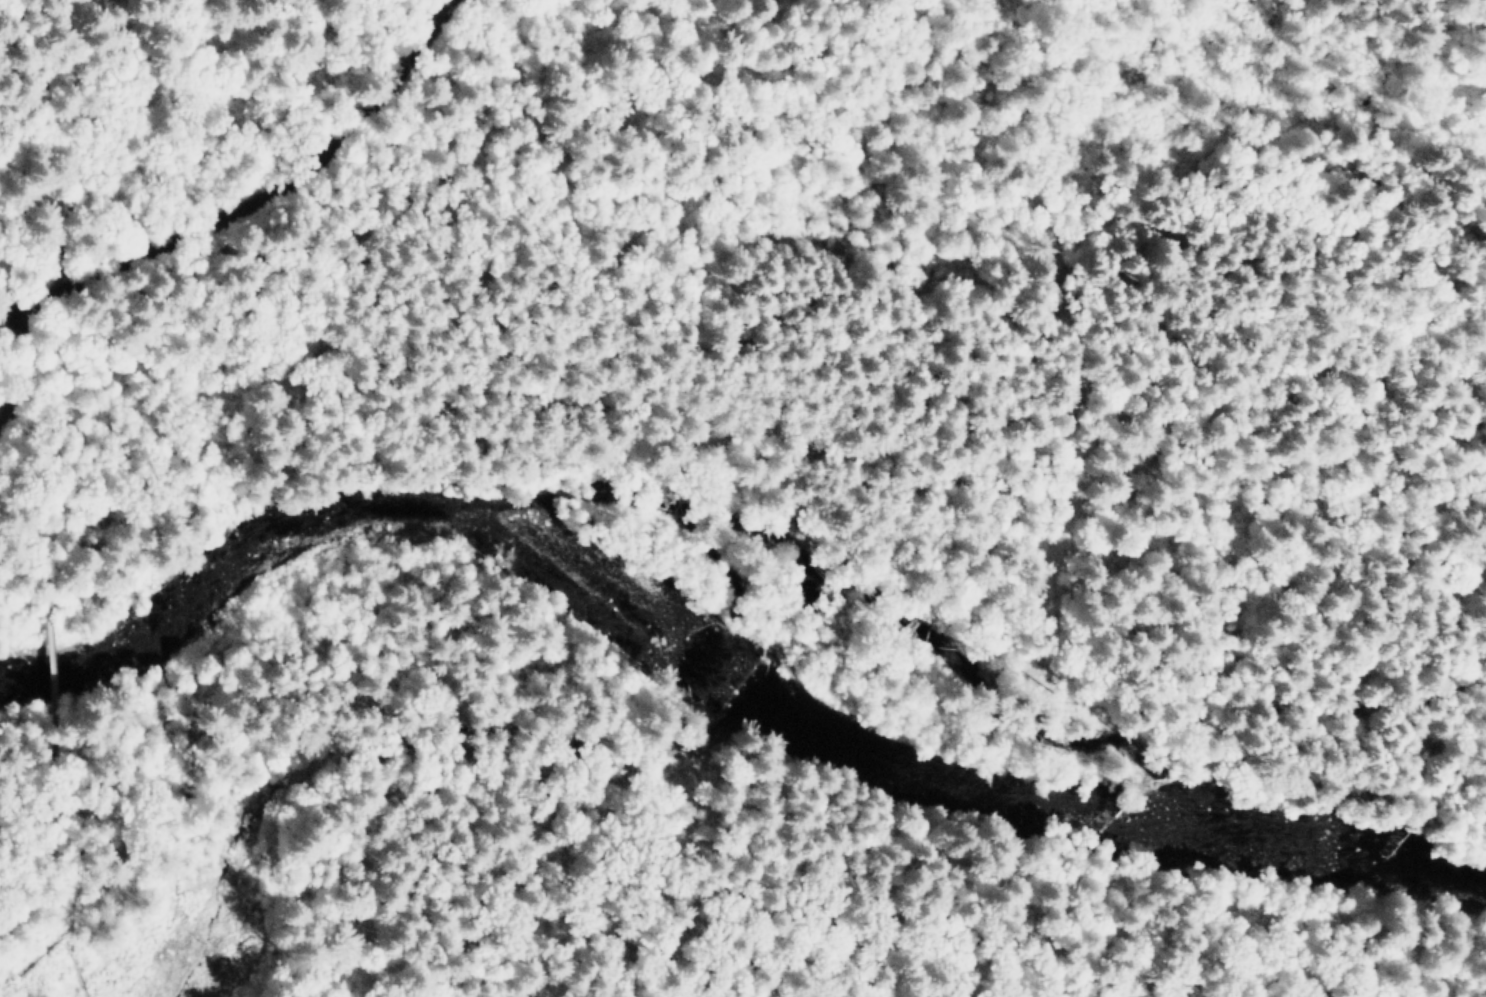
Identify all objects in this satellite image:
road: (257, 198)
road: (25, 361)
parking lot: (8, 412)
road: (6, 419)
road: (41, 529)
road: (55, 647)
river: (707, 672)
road: (40, 760)
road: (33, 847)
road: (68, 920)
road: (34, 957)

